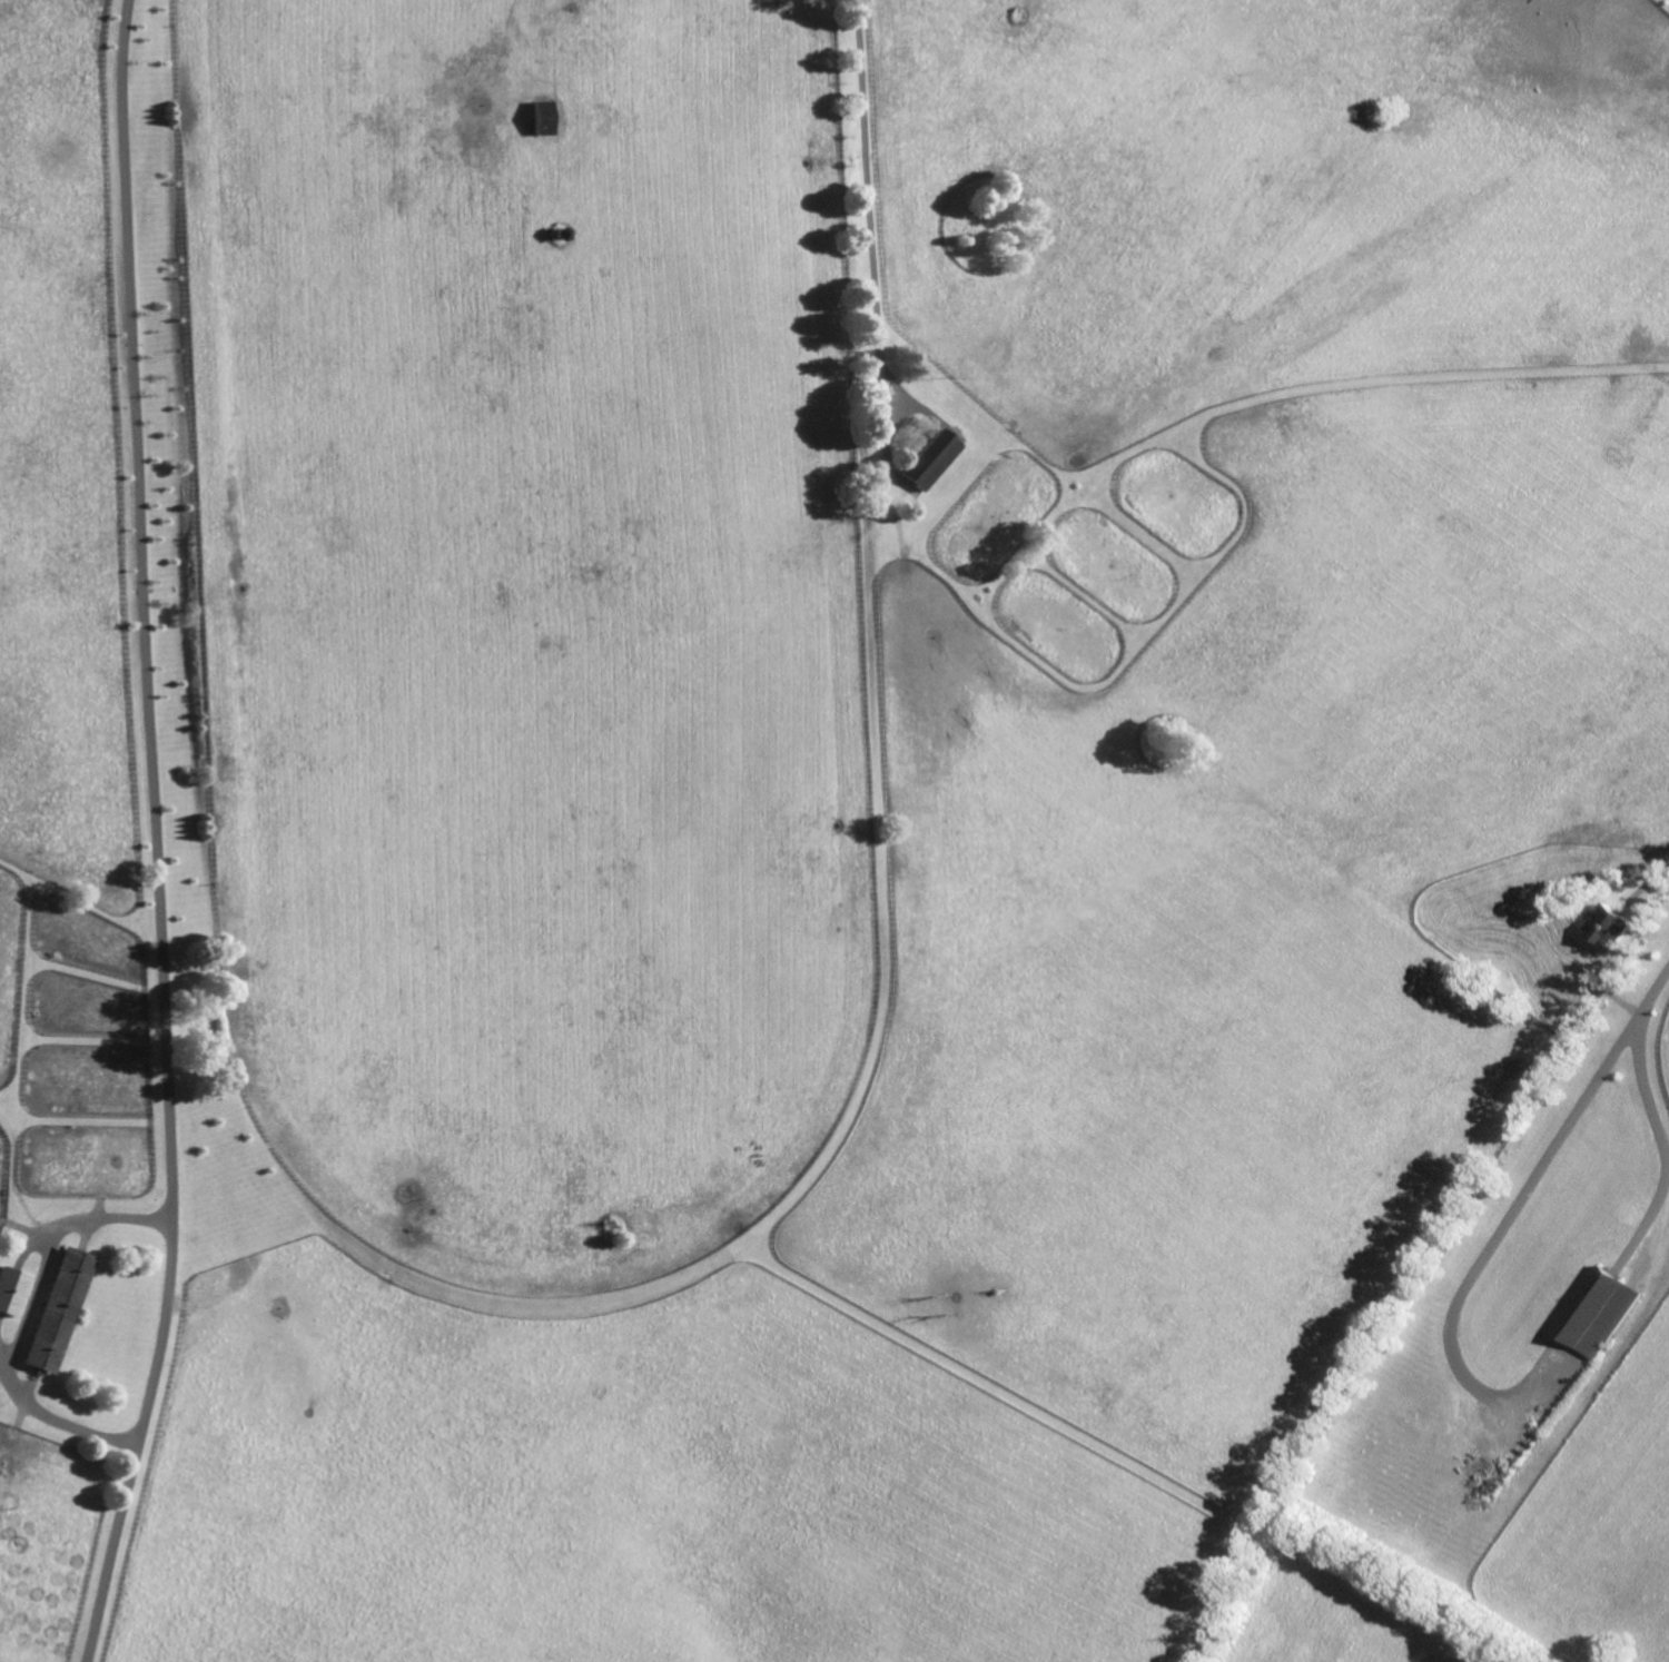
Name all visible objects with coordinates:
building: (541, 117)
road: (867, 207)
building: (560, 231)
silo: (53, 263)
building: (926, 459)
road: (156, 834)
building: (1607, 926)
road: (1650, 1108)
road: (1492, 1239)
building: (12, 1289)
building: (60, 1309)
building: (1596, 1310)
road: (26, 1322)

